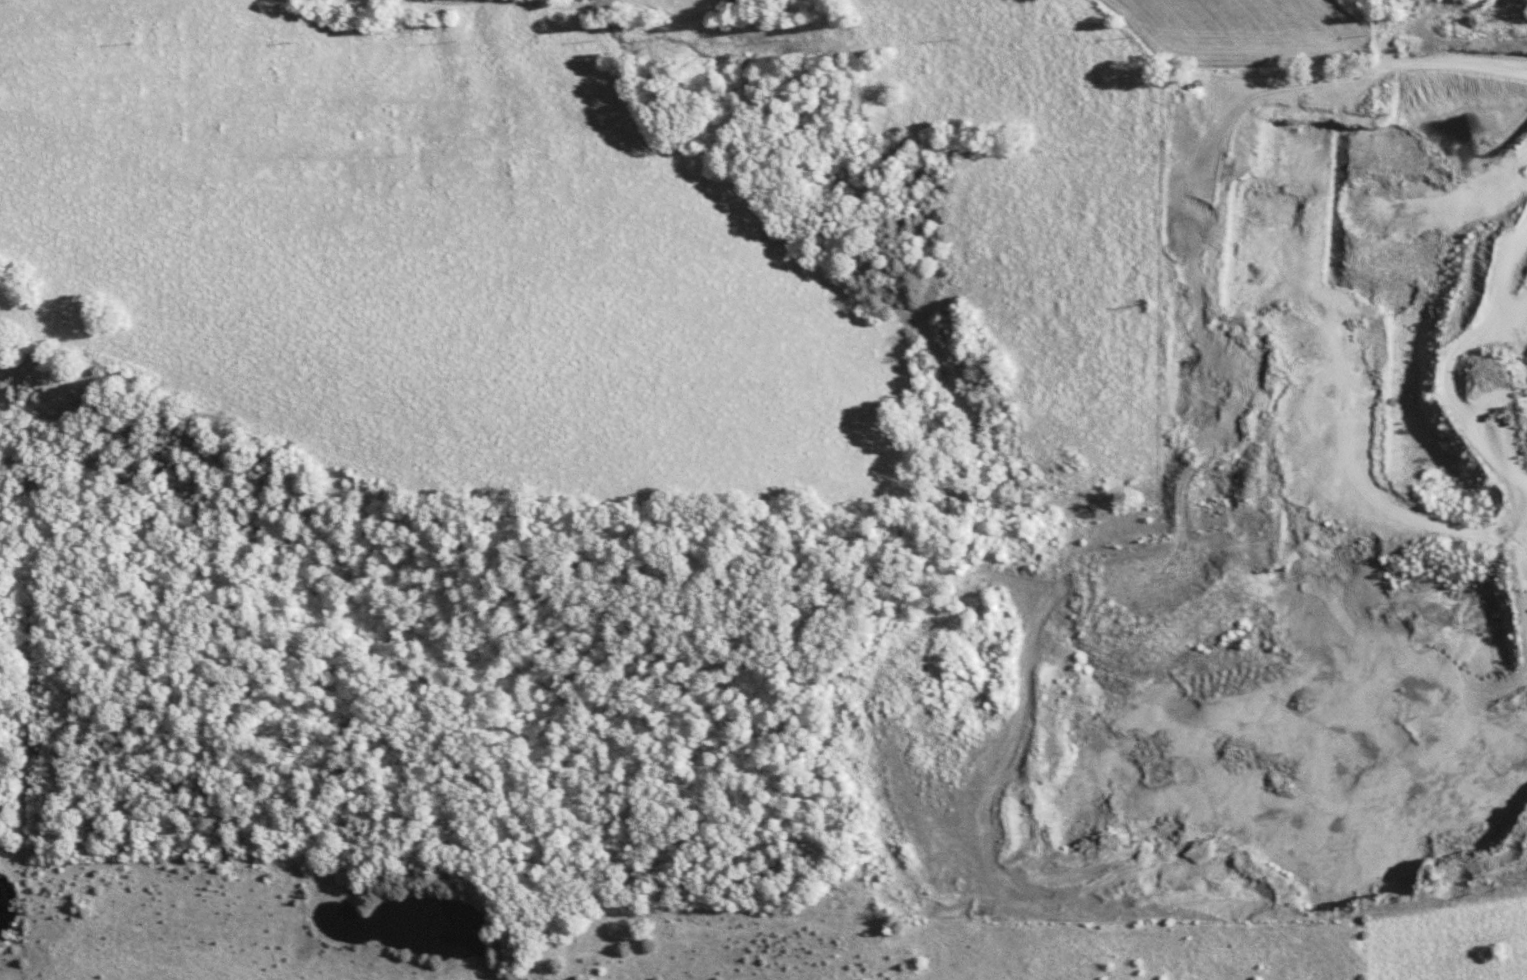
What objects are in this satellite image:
quarry: (1317, 625)

